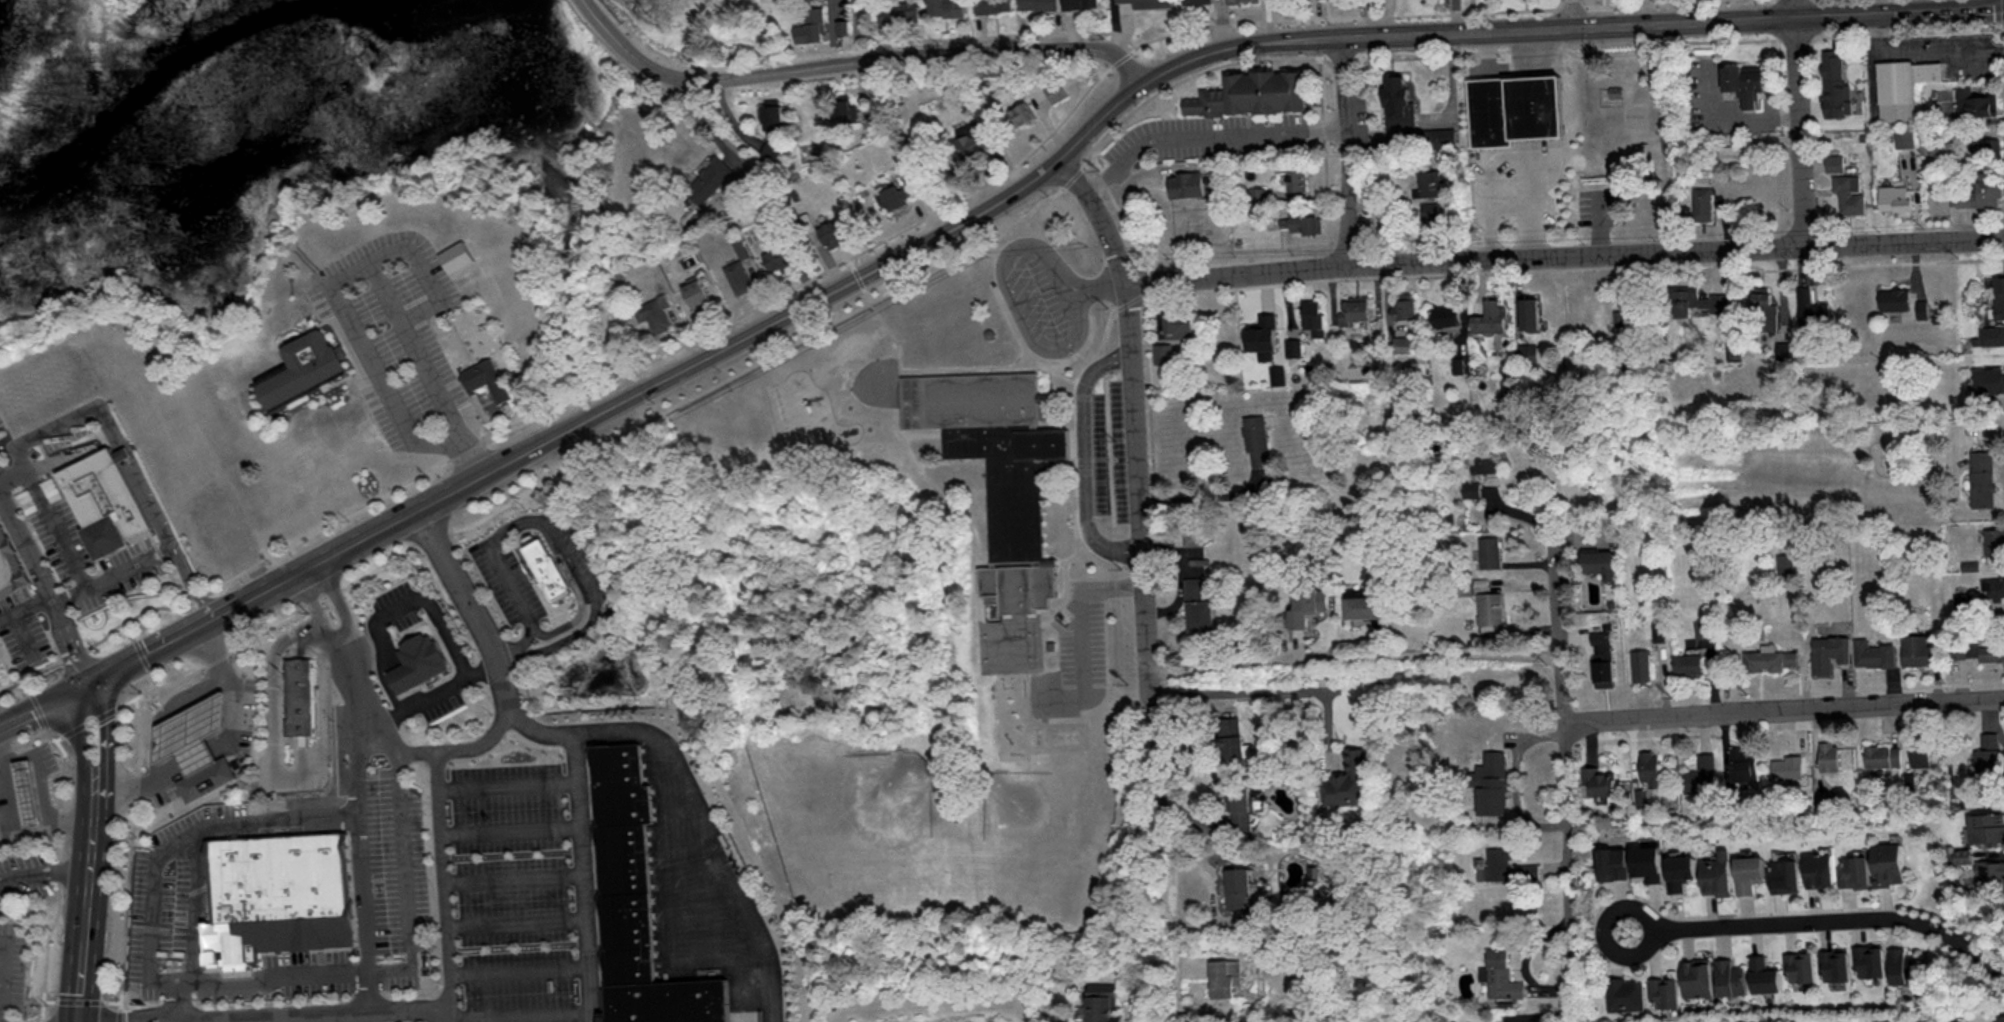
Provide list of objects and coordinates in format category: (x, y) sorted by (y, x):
building: (1246, 0)
building: (1201, 1)
building: (1080, 3)
building: (1038, 4)
building: (995, 5)
building: (947, 7)
road: (1893, 7)
road: (591, 8)
building: (913, 8)
road: (608, 10)
building: (892, 13)
road: (1571, 13)
road: (1788, 19)
building: (811, 25)
road: (1459, 31)
road: (871, 45)
road: (1241, 46)
road: (866, 60)
building: (1745, 83)
building: (1835, 85)
building: (1903, 85)
building: (1056, 90)
building: (1252, 92)
building: (1617, 92)
building: (1398, 100)
river: (246, 101)
building: (1975, 102)
building: (848, 105)
building: (1518, 106)
building: (1023, 113)
building: (773, 114)
road: (1735, 118)
road: (1099, 119)
road: (1805, 123)
road: (1049, 126)
road: (1204, 135)
building: (1439, 136)
park: (1574, 140)
building: (972, 143)
building: (1985, 146)
road: (1344, 151)
building: (772, 152)
building: (1834, 162)
building: (713, 178)
building: (1296, 179)
building: (1186, 183)
building: (1428, 184)
building: (1981, 189)
building: (1849, 193)
building: (896, 195)
building: (1896, 198)
building: (1703, 202)
parking lot: (1600, 206)
building: (1429, 210)
building: (1301, 223)
road: (1599, 224)
building: (832, 233)
building: (457, 255)
road: (1563, 257)
building: (779, 258)
road: (839, 261)
road: (312, 263)
road: (352, 271)
road: (427, 274)
park: (546, 276)
building: (738, 276)
road: (1100, 281)
building: (698, 293)
road: (1010, 293)
building: (1998, 295)
building: (1894, 298)
building: (1697, 301)
building: (1403, 306)
building: (1921, 307)
building: (1764, 308)
building: (1811, 308)
building: (1354, 309)
building: (1529, 312)
building: (655, 313)
building: (1445, 315)
building: (1313, 316)
building: (1490, 317)
road: (761, 326)
building: (1172, 335)
building: (1262, 335)
building: (1401, 343)
building: (1784, 347)
building: (1734, 349)
building: (1458, 364)
building: (304, 371)
building: (1278, 375)
building: (1989, 379)
building: (487, 380)
building: (1255, 439)
road: (1082, 456)
building: (1483, 461)
building: (999, 470)
building: (1981, 476)
building: (967, 477)
building: (1471, 488)
road: (1198, 496)
building: (103, 504)
road: (48, 517)
road: (553, 525)
road: (382, 526)
building: (1994, 541)
building: (1489, 551)
road: (162, 557)
building: (1598, 561)
building: (1784, 562)
building: (10, 564)
building: (547, 571)
road: (978, 574)
road: (110, 576)
road: (1143, 581)
road: (187, 584)
road: (274, 584)
road: (46, 586)
building: (1993, 587)
building: (1306, 604)
road: (26, 605)
building: (1198, 605)
building: (1364, 606)
building: (1490, 607)
building: (1701, 628)
road: (1081, 629)
building: (1657, 631)
road: (21, 635)
road: (161, 643)
building: (1915, 648)
building: (1978, 649)
road: (139, 652)
building: (1828, 652)
building: (1873, 652)
building: (1602, 658)
building: (1768, 658)
road: (1351, 660)
building: (1687, 663)
building: (417, 664)
building: (1640, 664)
road: (8, 687)
traffic signals: (82, 688)
road: (232, 688)
park: (10, 690)
road: (1258, 691)
road: (429, 693)
road: (135, 695)
building: (298, 699)
road: (37, 705)
road: (41, 707)
road: (1782, 708)
road: (365, 729)
building: (191, 733)
gas station: (191, 733)
building: (1232, 735)
road: (568, 738)
building: (1919, 752)
building: (1830, 755)
building: (1883, 755)
building: (1987, 755)
road: (197, 756)
building: (1648, 765)
building: (1743, 765)
building: (1788, 766)
building: (1700, 774)
road: (1563, 776)
building: (206, 777)
road: (94, 779)
building: (1349, 780)
building: (1598, 781)
building: (1490, 782)
road: (137, 783)
building: (28, 791)
gas station: (28, 791)
building: (1828, 796)
building: (1243, 807)
building: (1986, 827)
road: (18, 829)
road: (705, 840)
road: (147, 842)
road: (59, 849)
building: (1964, 855)
road: (130, 858)
building: (1613, 862)
building: (1647, 862)
building: (1890, 863)
building: (1991, 865)
building: (1507, 867)
building: (1821, 870)
building: (1681, 871)
building: (1856, 871)
building: (1750, 872)
road: (44, 873)
building: (1718, 873)
building: (1787, 874)
building: (1238, 886)
building: (279, 896)
building: (634, 905)
road: (84, 912)
road: (1840, 919)
road: (1604, 931)
building: (1869, 960)
building: (1834, 964)
building: (1800, 966)
building: (1902, 966)
building: (1764, 974)
building: (1500, 975)
building: (1225, 976)
building: (1697, 977)
building: (1730, 977)
road: (178, 981)
road: (79, 987)
road: (365, 991)
building: (1664, 991)
building: (1625, 993)
road: (81, 1000)
road: (176, 1000)
building: (1103, 1003)
road: (428, 1007)
road: (438, 1014)
building: (2003, 1017)
road: (178, 1021)

